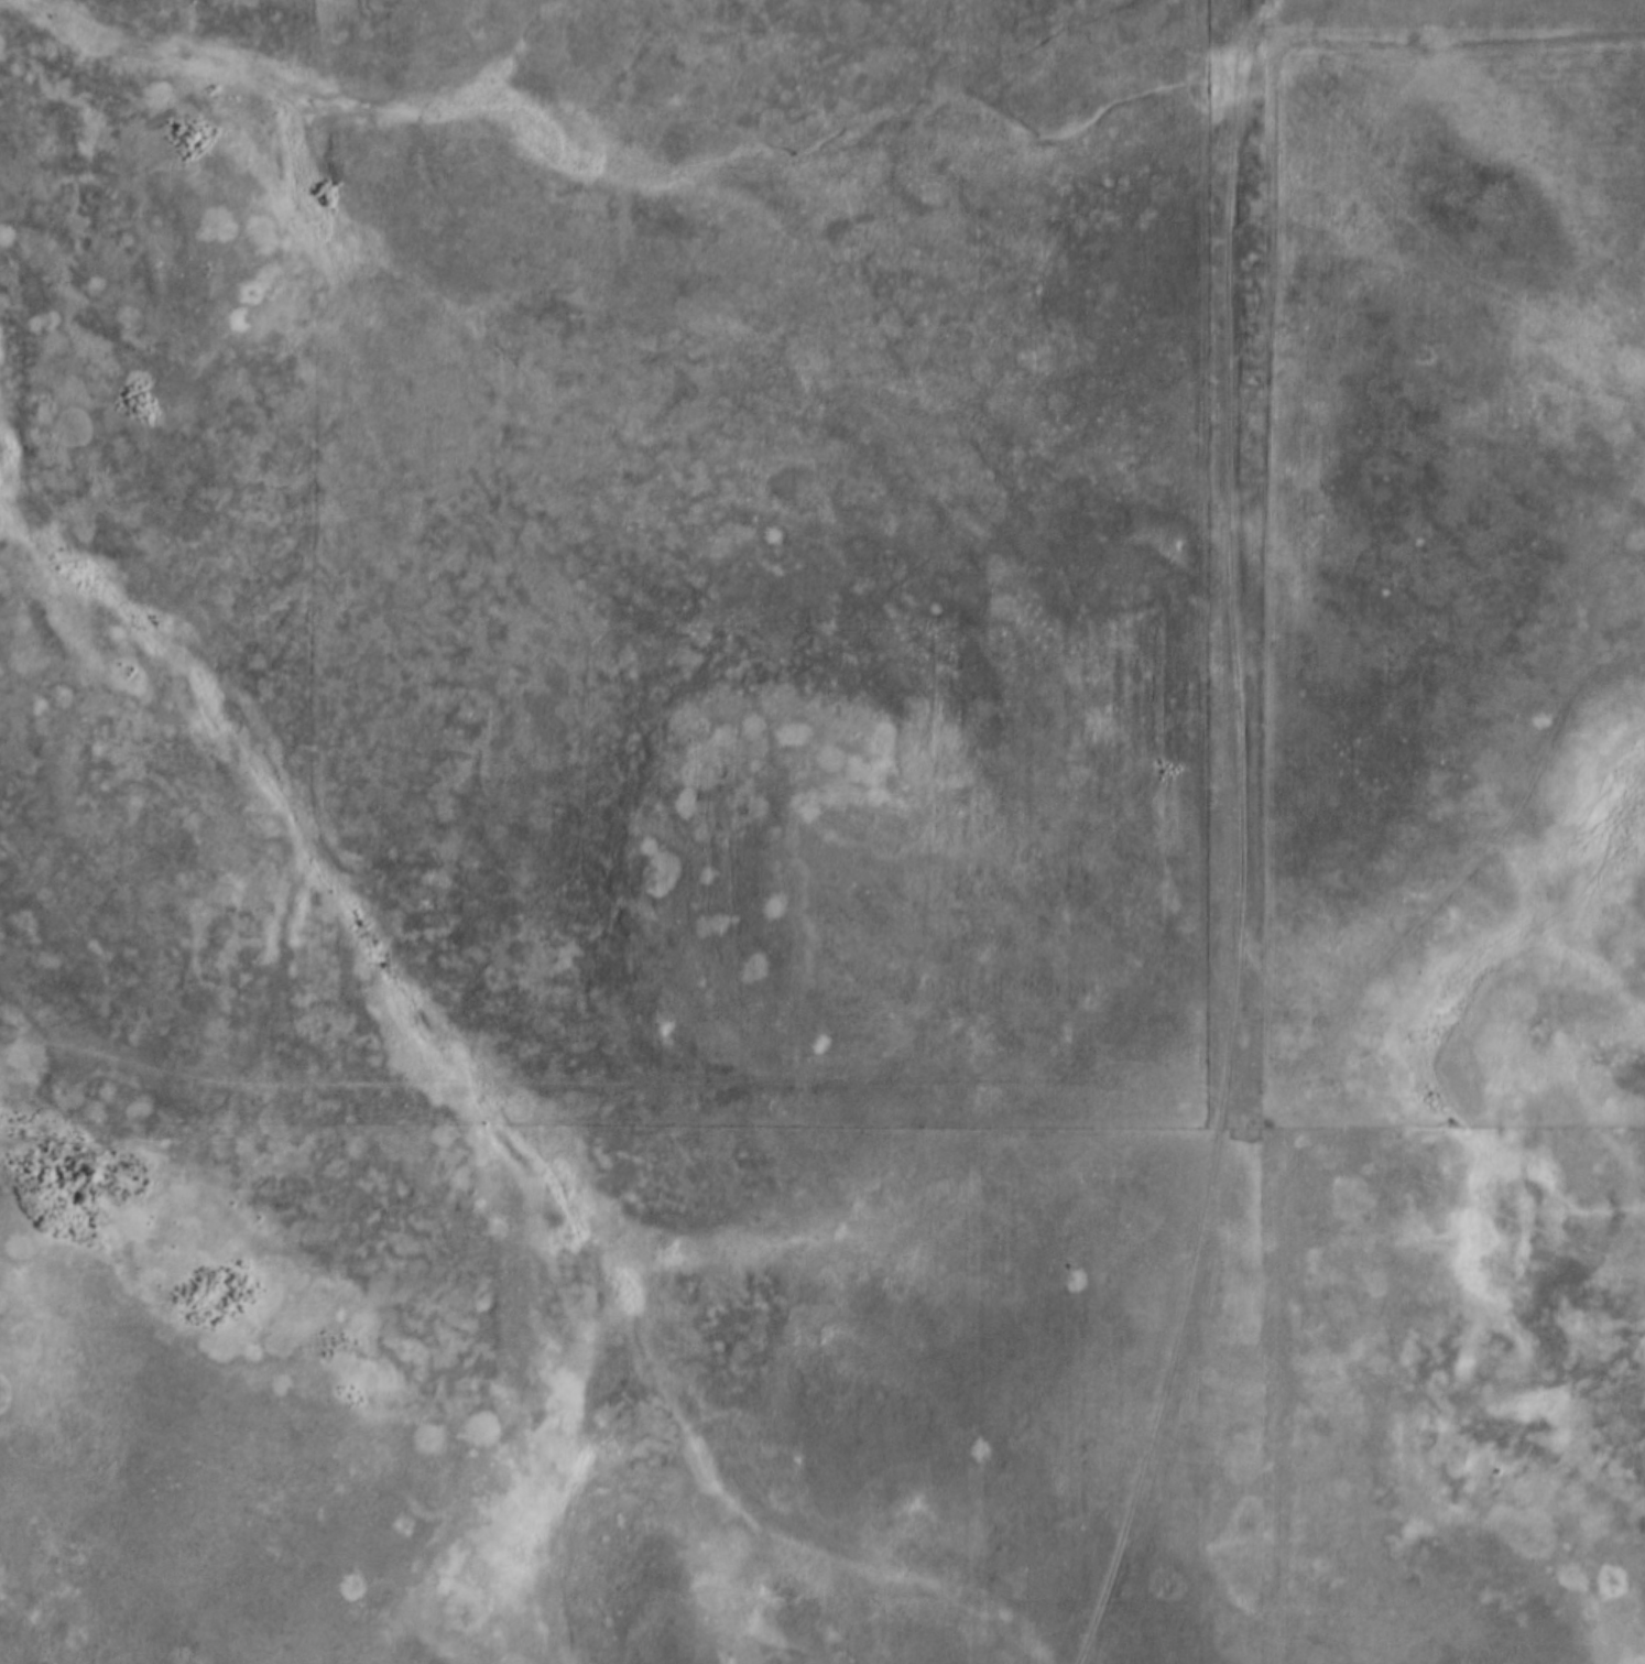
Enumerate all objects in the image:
road: (1243, 841)
road: (1293, 1084)

